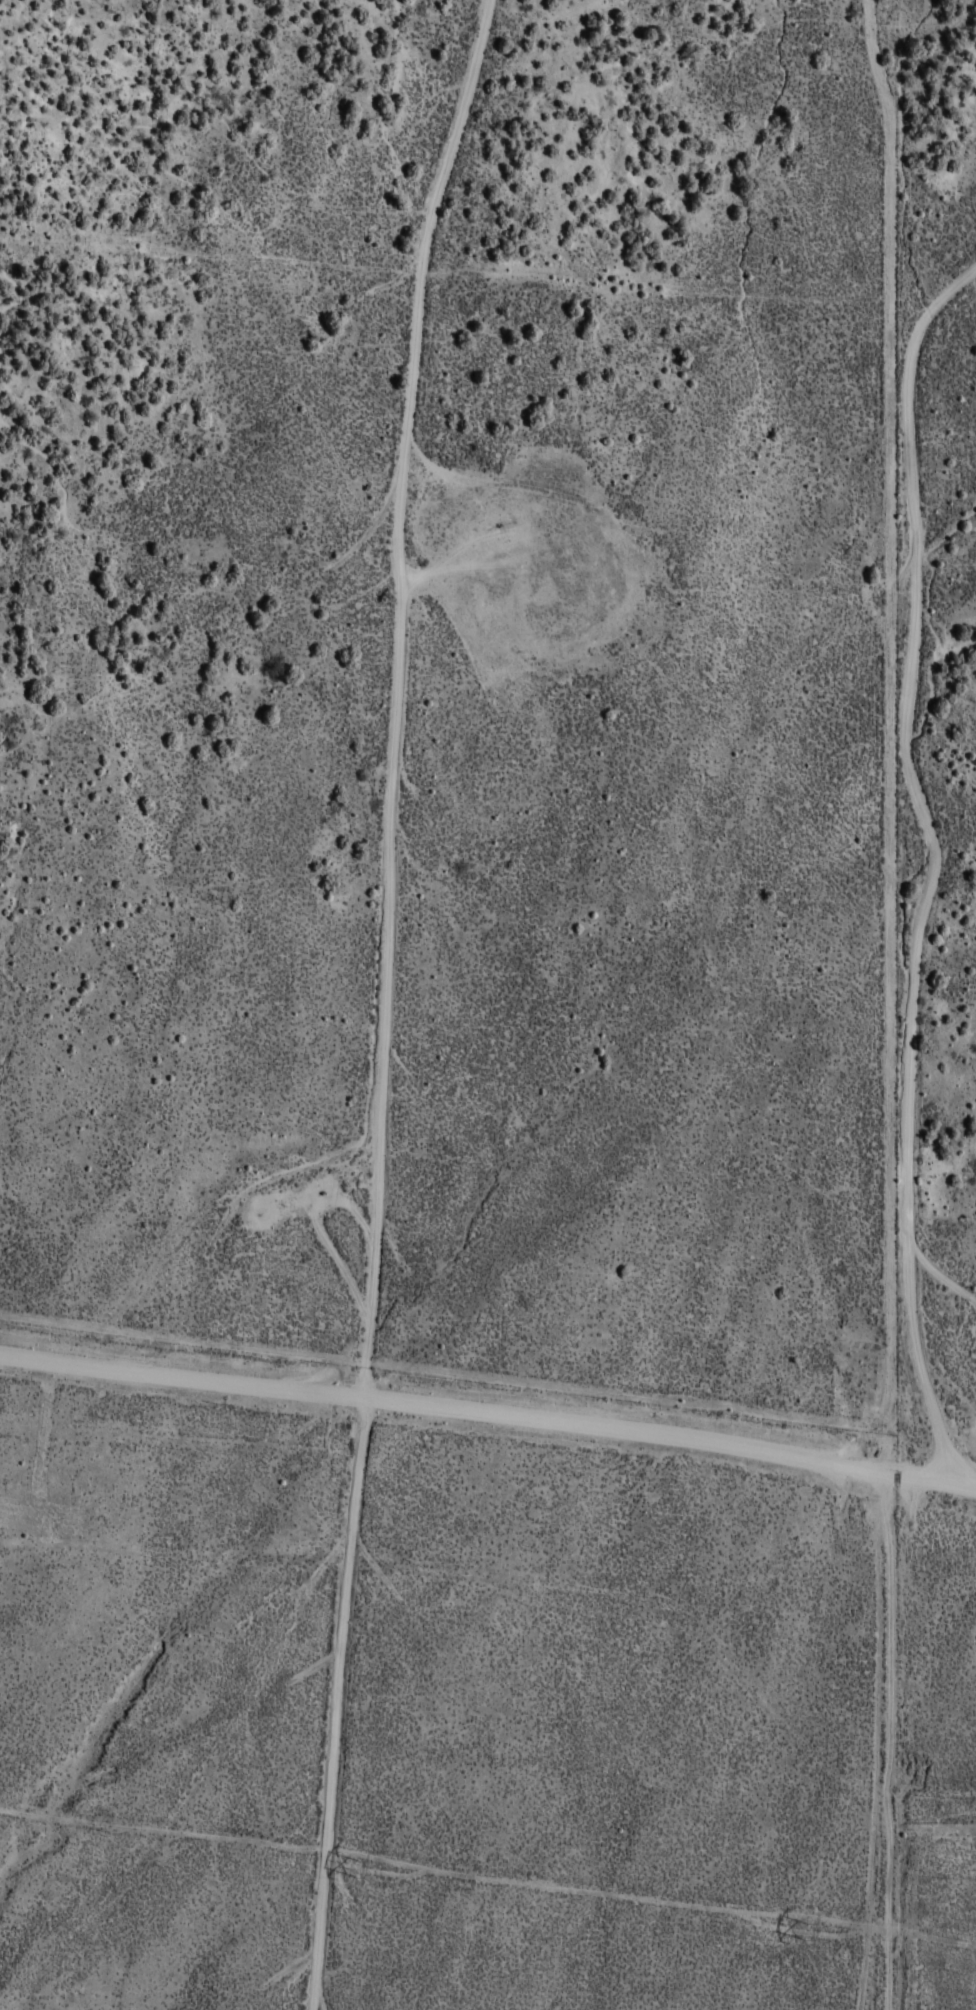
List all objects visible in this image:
road: (382, 1403)
road: (871, 1461)
road: (279, 1611)
road: (186, 1845)
power tower: (358, 1866)
power tower: (810, 1931)

